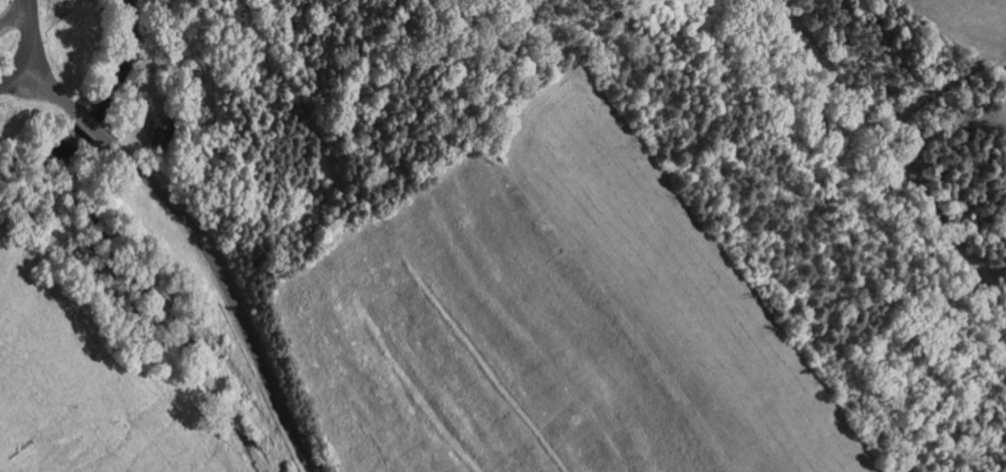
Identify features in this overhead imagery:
road: (14, 13)
road: (27, 31)
road: (10, 73)
road: (47, 82)
road: (91, 126)
building: (162, 131)
road: (232, 294)

